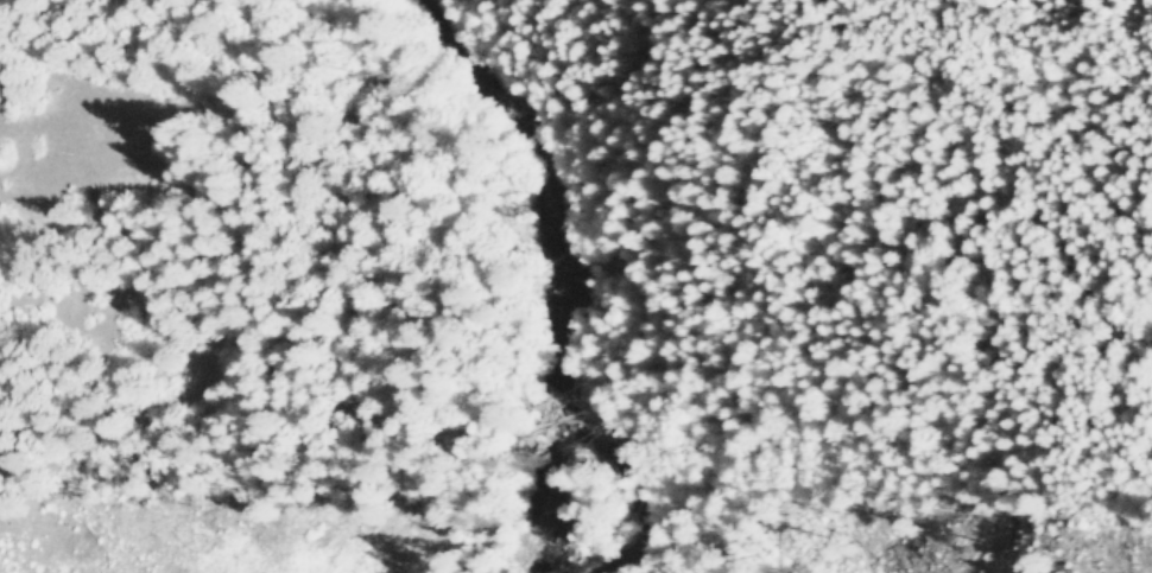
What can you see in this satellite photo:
river: (606, 269)
road: (1038, 390)

